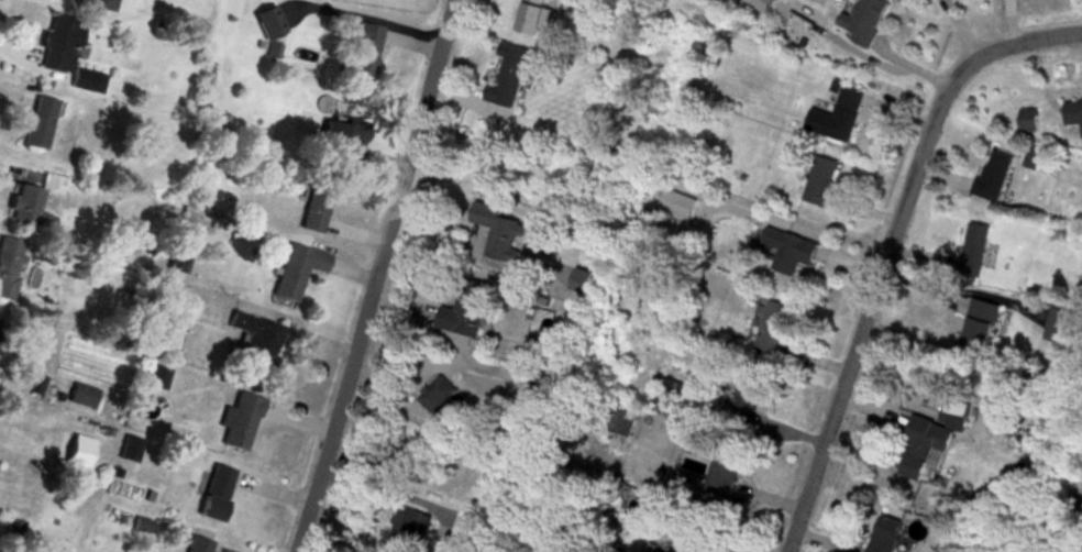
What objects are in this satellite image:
building: (533, 18)
building: (865, 20)
building: (60, 44)
building: (361, 53)
building: (510, 79)
building: (85, 81)
building: (1074, 113)
building: (839, 119)
building: (1030, 121)
building: (40, 124)
building: (340, 141)
building: (1035, 165)
building: (994, 177)
building: (820, 180)
building: (675, 198)
building: (24, 202)
building: (309, 205)
building: (498, 230)
road: (887, 245)
building: (972, 246)
building: (788, 247)
building: (7, 262)
building: (290, 268)
road: (373, 276)
building: (465, 308)
building: (979, 321)
building: (771, 325)
building: (252, 336)
building: (152, 375)
building: (746, 387)
building: (435, 391)
building: (77, 393)
building: (236, 420)
building: (929, 438)
building: (125, 446)
building: (211, 490)
building: (406, 530)
building: (883, 534)
building: (688, 536)
building: (195, 542)

